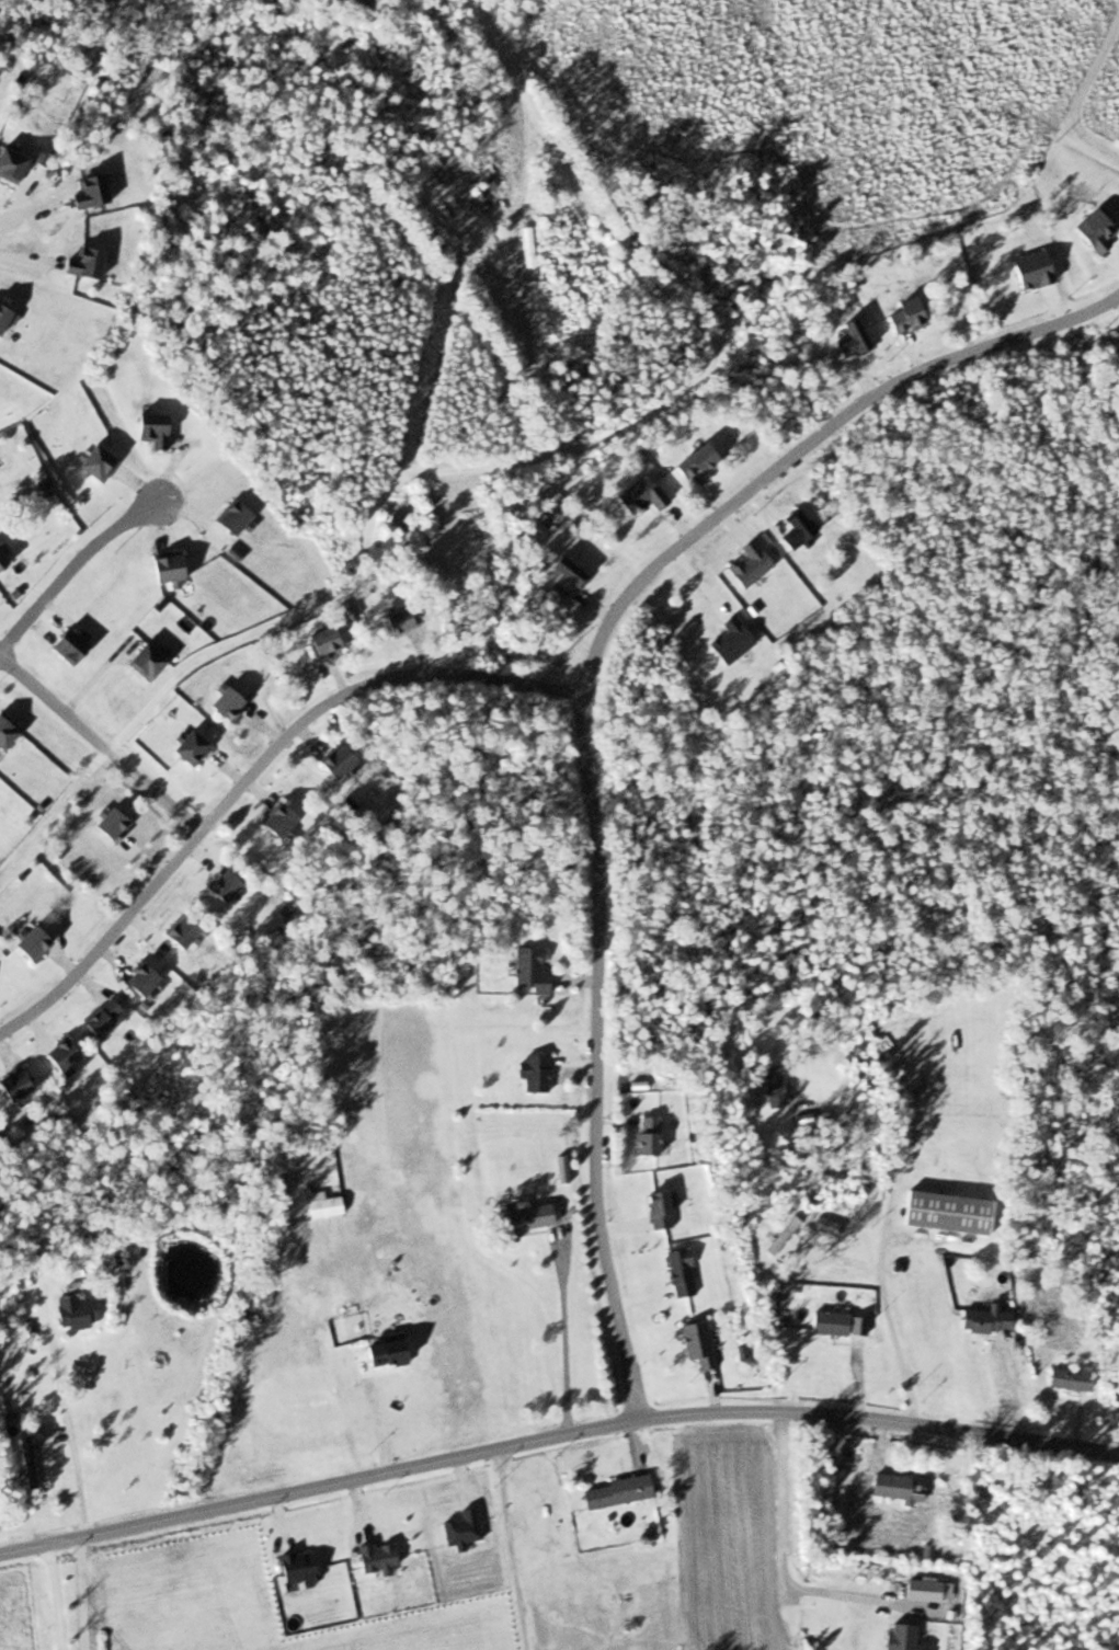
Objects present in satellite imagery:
building: (9, 164)
building: (443, 165)
building: (484, 179)
building: (87, 191)
building: (80, 262)
building: (3, 318)
building: (149, 429)
building: (93, 462)
road: (510, 465)
building: (227, 517)
building: (1, 560)
road: (66, 568)
building: (164, 570)
building: (393, 621)
building: (319, 642)
building: (65, 645)
building: (141, 661)
building: (221, 703)
road: (583, 712)
road: (98, 743)
building: (185, 747)
building: (332, 763)
road: (255, 768)
building: (273, 821)
building: (106, 824)
building: (218, 886)
building: (178, 929)
building: (27, 943)
building: (529, 970)
building: (136, 979)
building: (98, 1018)
building: (57, 1056)
building: (532, 1073)
building: (12, 1086)
building: (772, 1086)
building: (644, 1136)
building: (656, 1211)
building: (945, 1213)
building: (519, 1221)
building: (678, 1273)
building: (71, 1313)
building: (983, 1320)
building: (836, 1325)
building: (695, 1343)
building: (1066, 1379)
road: (556, 1435)
building: (891, 1487)
building: (616, 1492)

